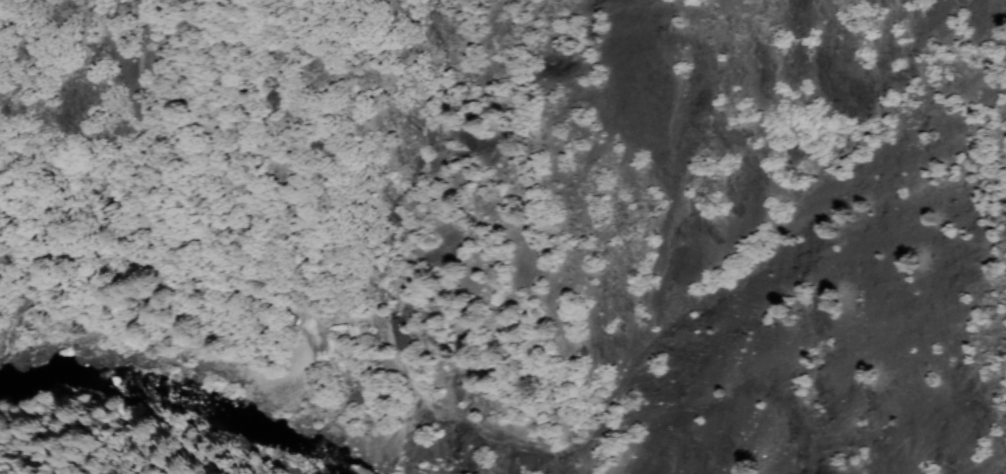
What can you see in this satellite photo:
river: (176, 395)
road: (450, 416)

